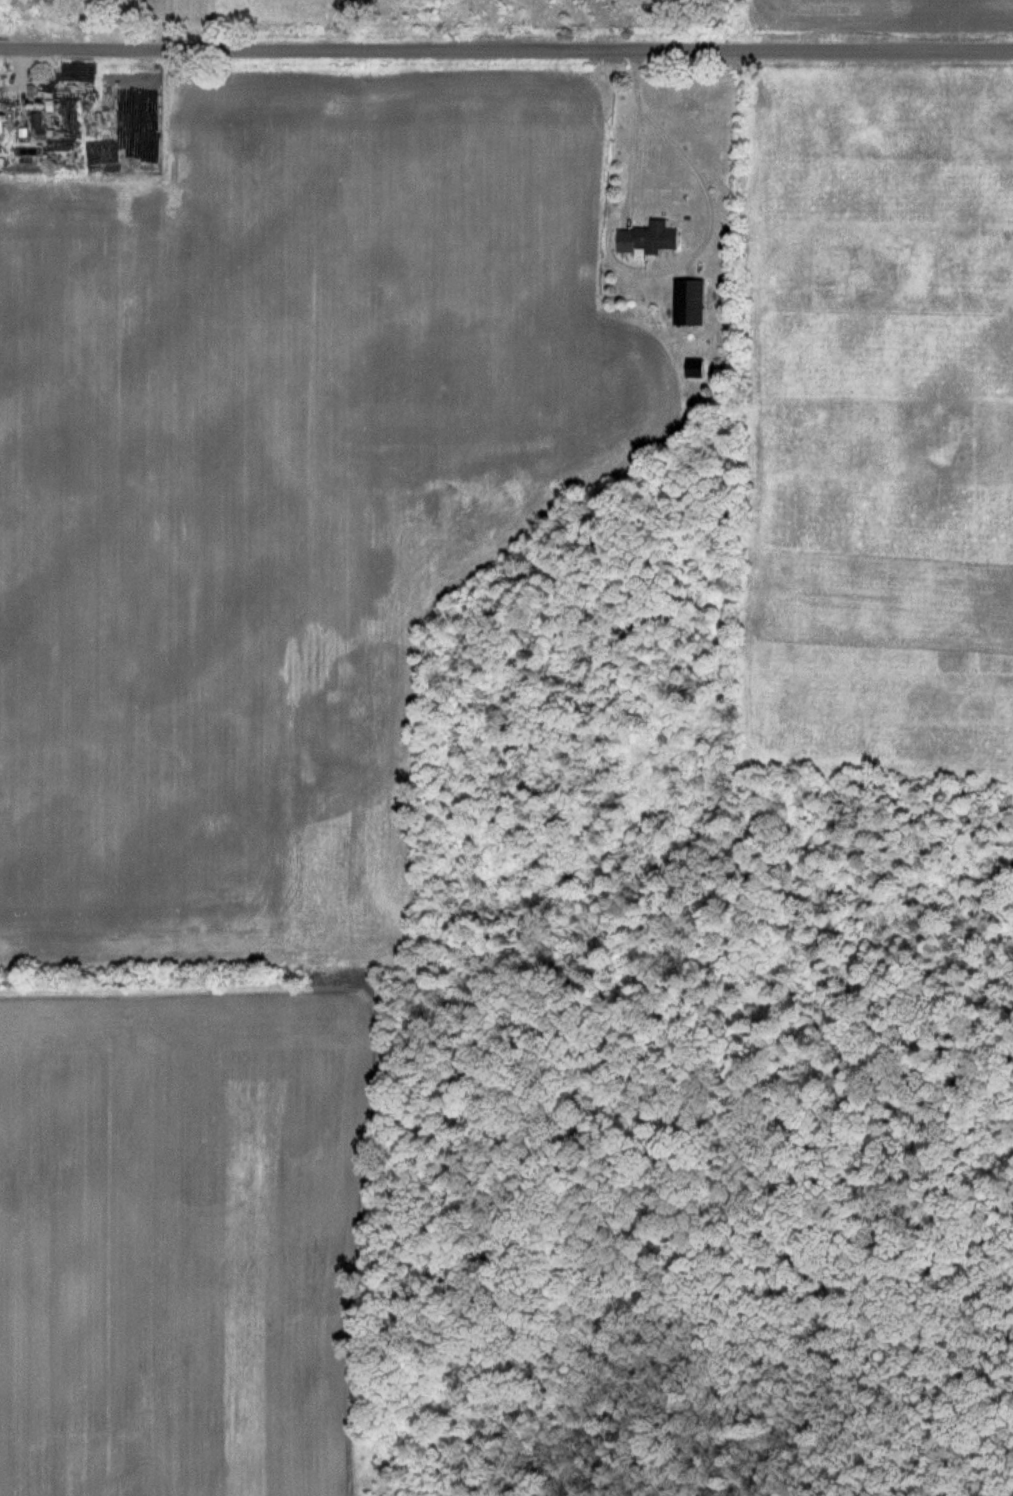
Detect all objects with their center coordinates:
road: (168, 24)
road: (506, 48)
building: (2, 115)
road: (631, 126)
building: (5, 189)
building: (652, 238)
building: (693, 303)
building: (696, 369)

